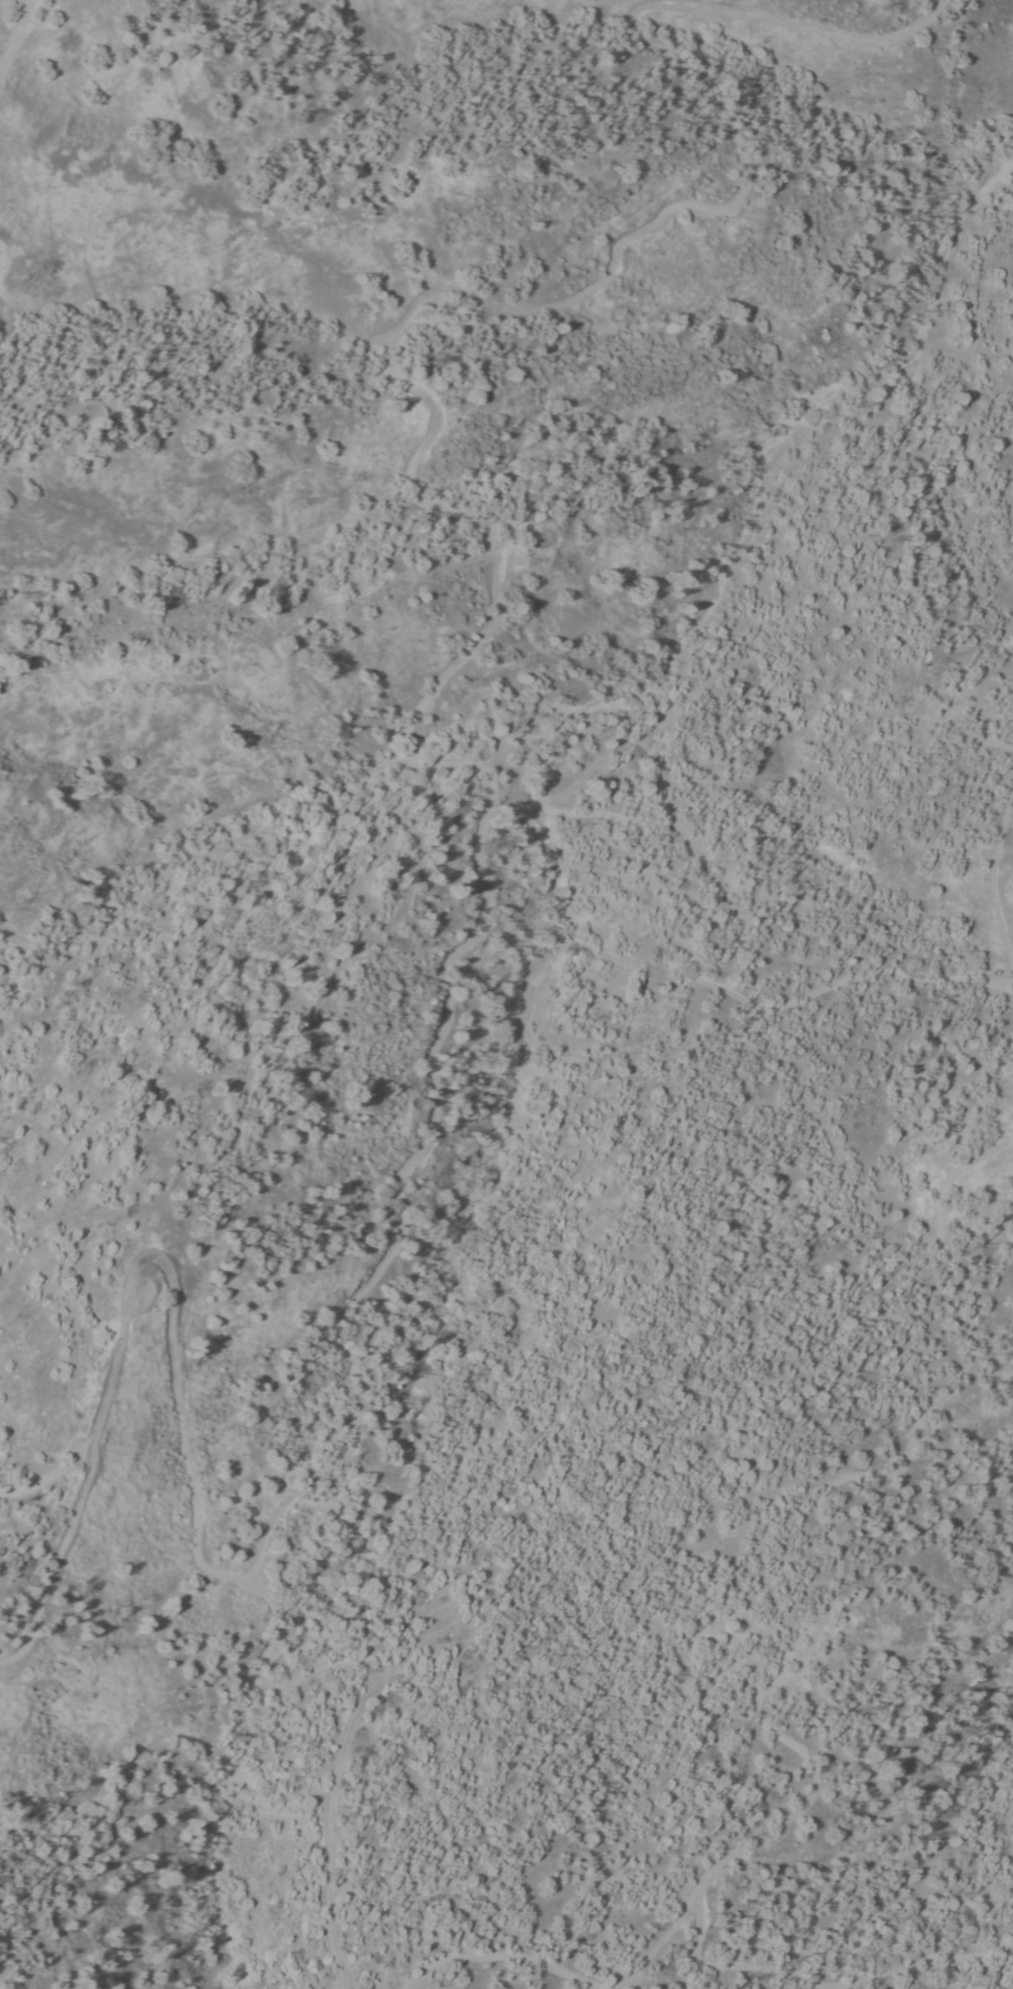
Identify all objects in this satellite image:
road: (13, 37)
road: (683, 61)
road: (1000, 749)
road: (994, 874)
road: (695, 1948)
road: (857, 1978)

